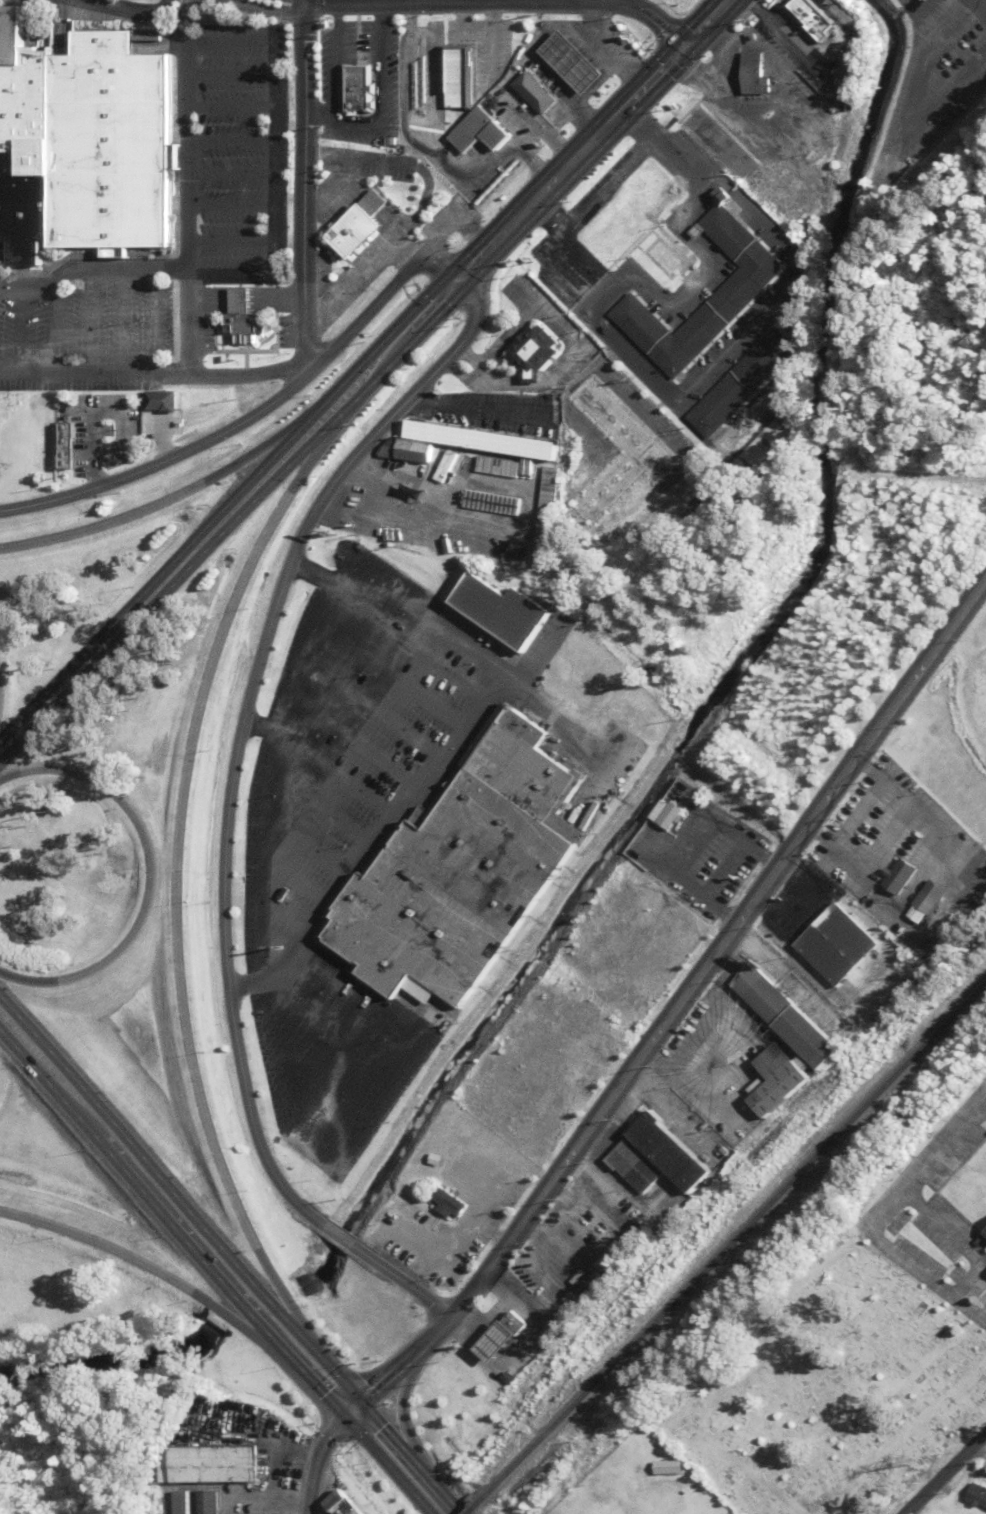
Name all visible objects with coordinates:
parking lot: (135, 0)
road: (295, 2)
road: (300, 2)
road: (499, 2)
road: (977, 7)
road: (125, 8)
road: (264, 9)
road: (334, 10)
road: (380, 11)
building: (819, 17)
road: (706, 24)
road: (227, 41)
traffic signals: (683, 48)
building: (572, 62)
gas station: (572, 62)
building: (756, 74)
building: (458, 77)
building: (358, 90)
building: (534, 94)
building: (421, 107)
road: (317, 114)
road: (355, 123)
building: (478, 130)
road: (182, 134)
road: (228, 141)
building: (83, 144)
parking lot: (242, 156)
road: (273, 158)
road: (569, 163)
road: (228, 174)
building: (490, 177)
road: (301, 185)
road: (738, 198)
road: (578, 211)
building: (631, 215)
road: (545, 216)
building: (359, 226)
road: (89, 270)
road: (229, 277)
traffic signals: (456, 279)
building: (749, 279)
road: (375, 304)
building: (242, 317)
road: (87, 322)
road: (119, 322)
road: (185, 322)
parking lot: (85, 339)
road: (371, 349)
building: (533, 352)
road: (304, 371)
road: (77, 373)
road: (171, 374)
road: (243, 376)
road: (698, 381)
building: (742, 384)
building: (159, 401)
building: (618, 423)
building: (481, 439)
building: (404, 450)
road: (247, 455)
road: (302, 461)
road: (162, 462)
building: (502, 467)
building: (546, 516)
road: (231, 519)
road: (102, 522)
road: (308, 575)
road: (148, 581)
road: (415, 606)
building: (503, 611)
road: (409, 644)
river: (750, 662)
road: (257, 727)
road: (237, 728)
road: (5, 772)
road: (333, 774)
building: (670, 816)
road: (370, 840)
road: (688, 847)
road: (141, 854)
road: (171, 868)
building: (466, 871)
building: (898, 876)
building: (929, 898)
building: (917, 915)
building: (838, 945)
road: (719, 947)
road: (25, 981)
building: (787, 1017)
road: (696, 1035)
building: (778, 1062)
road: (35, 1071)
road: (691, 1086)
building: (782, 1090)
road: (674, 1109)
building: (673, 1153)
building: (636, 1166)
road: (151, 1168)
building: (447, 1203)
road: (878, 1221)
road: (173, 1227)
building: (985, 1234)
road: (335, 1237)
river: (336, 1237)
road: (99, 1244)
railway: (728, 1246)
river: (316, 1268)
road: (399, 1282)
building: (588, 1283)
road: (279, 1293)
river: (256, 1306)
road: (235, 1317)
building: (512, 1323)
building: (495, 1341)
gas station: (495, 1341)
river: (110, 1358)
road: (402, 1360)
road: (329, 1370)
road: (308, 1381)
park: (829, 1390)
traffic signals: (356, 1403)
road: (395, 1405)
road: (348, 1410)
traffic signals: (340, 1418)
road: (327, 1429)
road: (380, 1430)
road: (978, 1451)
building: (212, 1464)
road: (382, 1466)
building: (669, 1468)
road: (945, 1473)
road: (306, 1478)
road: (428, 1485)
building: (975, 1497)
building: (204, 1502)
building: (178, 1503)
building: (336, 1504)
railway: (471, 1512)

